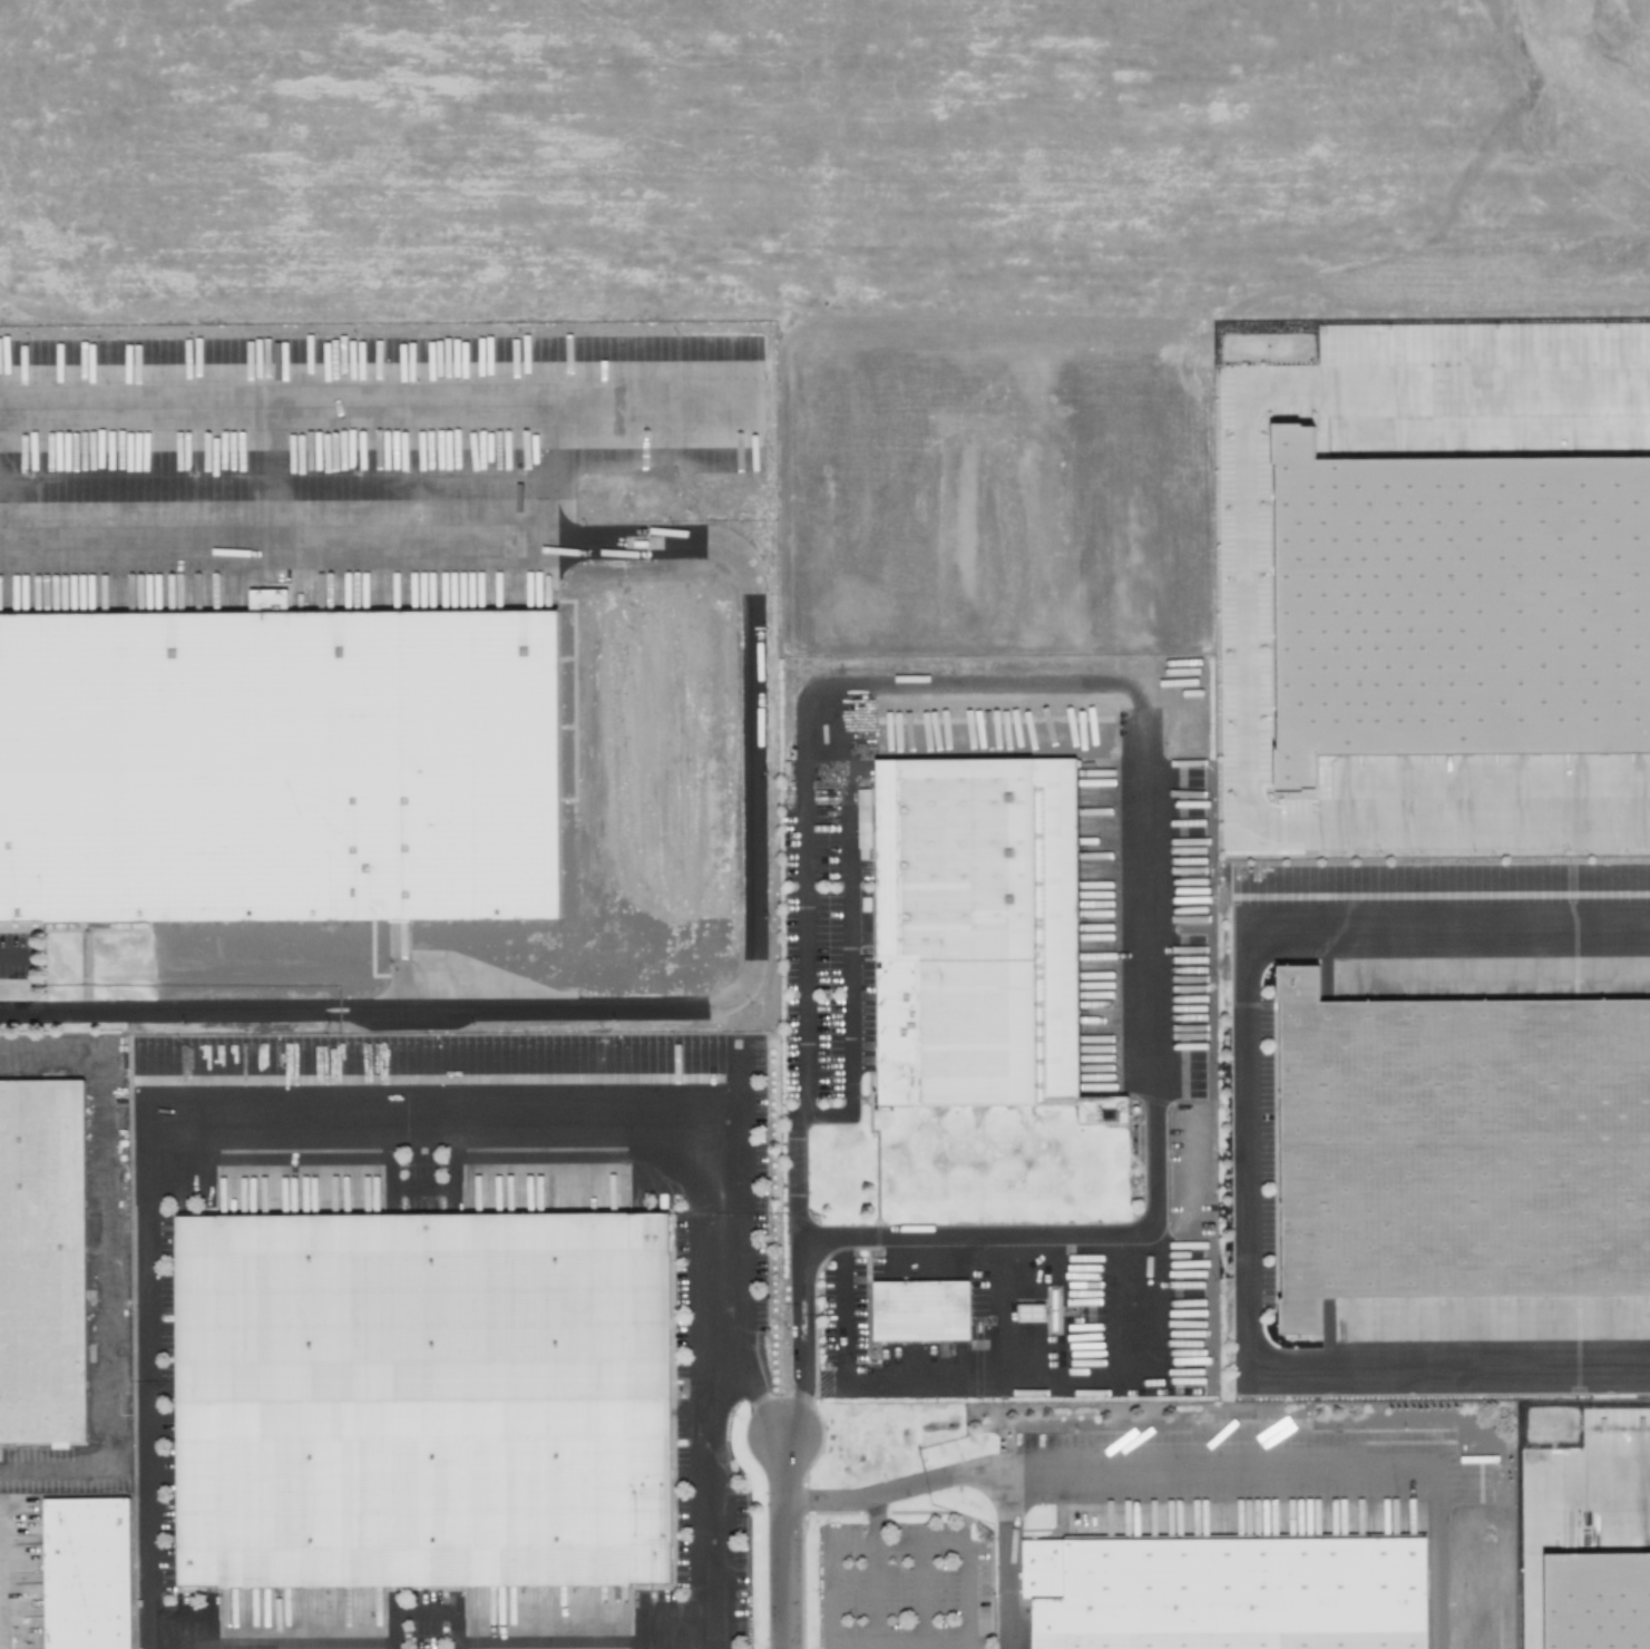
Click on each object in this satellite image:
road: (370, 401)
road: (373, 541)
road: (1243, 606)
road: (804, 750)
building: (271, 761)
building: (862, 806)
railway: (369, 825)
building: (968, 930)
road: (1241, 949)
road: (11, 956)
road: (1144, 960)
road: (847, 984)
road: (592, 1012)
road: (607, 1110)
building: (1458, 1150)
road: (797, 1189)
road: (877, 1239)
building: (37, 1260)
road: (102, 1265)
building: (911, 1306)
building: (1028, 1313)
road: (1447, 1370)
road: (144, 1379)
building: (418, 1398)
road: (1107, 1467)
road: (703, 1502)
road: (785, 1542)
road: (960, 1553)
road: (1435, 1558)
road: (1006, 1559)
road: (871, 1574)
building: (88, 1575)
road: (828, 1578)
building: (1226, 1593)
road: (919, 1599)
building: (1597, 1601)

